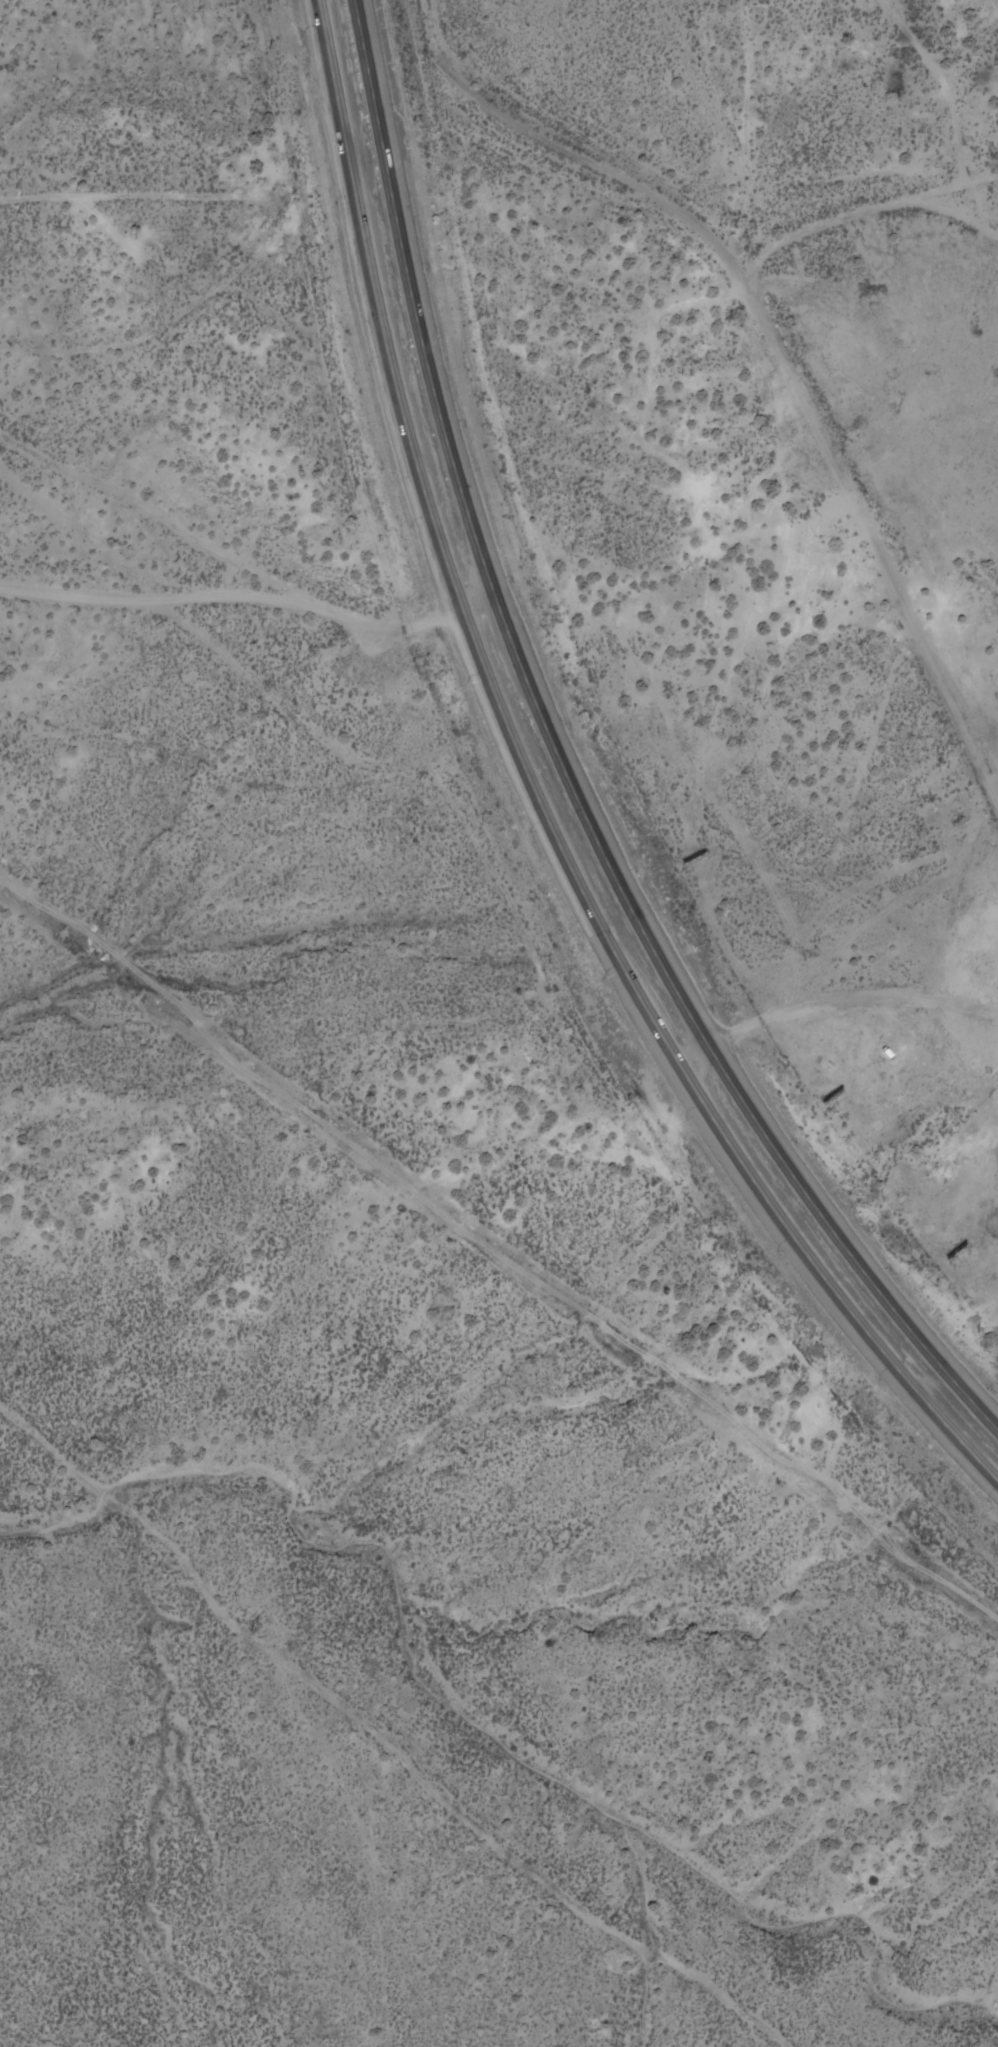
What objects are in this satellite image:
road: (965, 187)
road: (698, 246)
road: (157, 519)
road: (867, 536)
road: (247, 595)
road: (555, 767)
road: (538, 794)
road: (849, 995)
power tower: (254, 1627)
power tower: (615, 1922)

